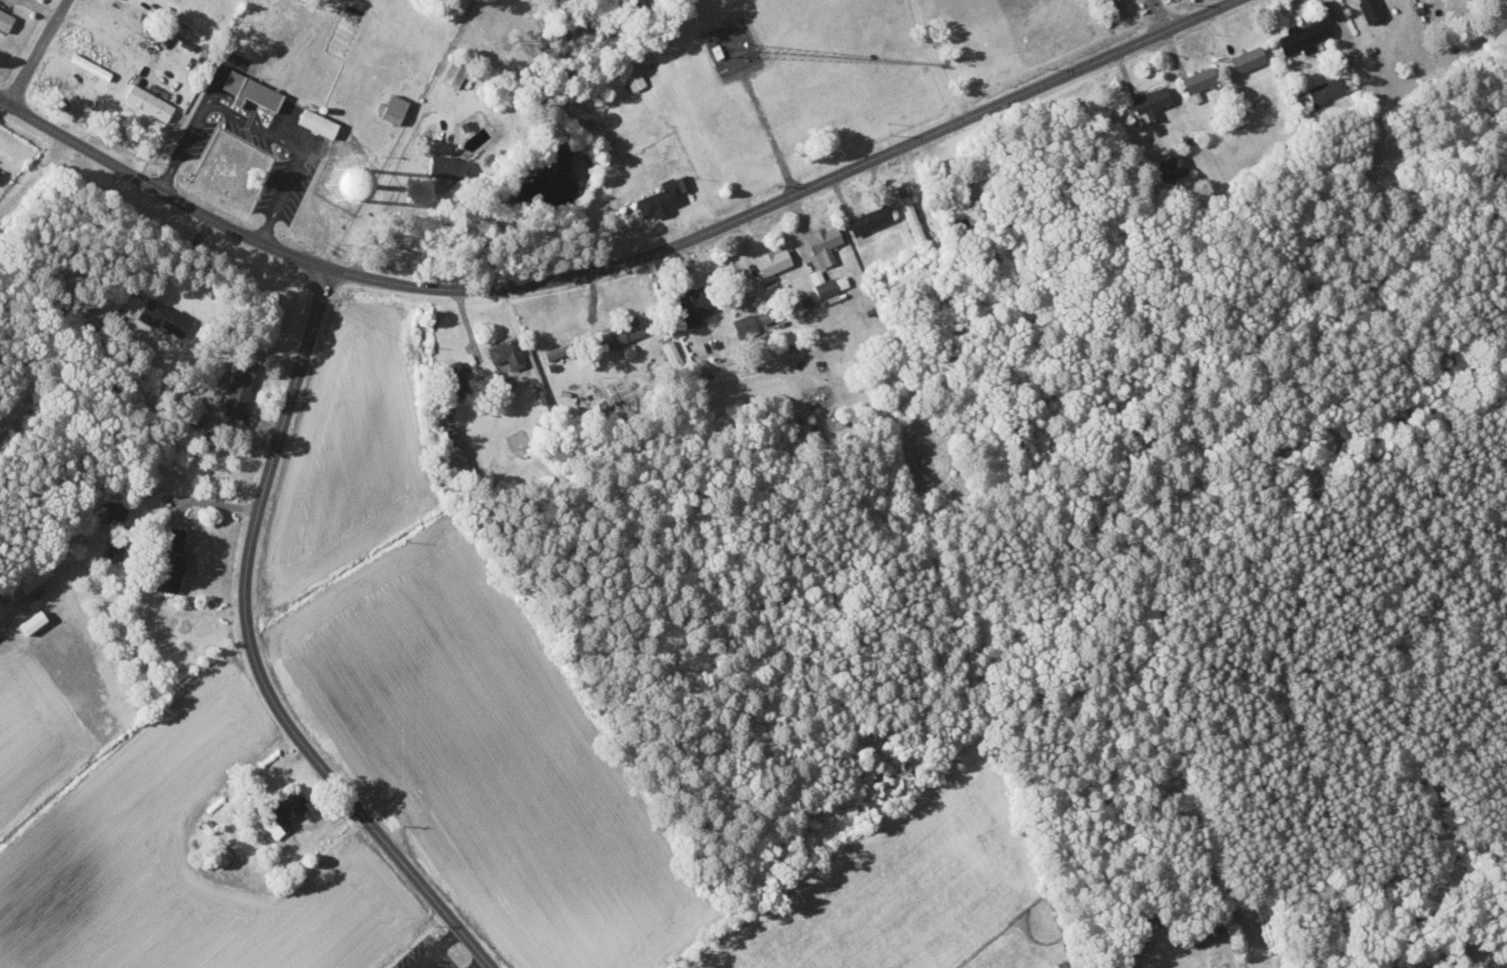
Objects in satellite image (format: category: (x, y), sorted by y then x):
building: (1370, 9)
road: (1156, 15)
building: (5, 21)
park: (1496, 32)
building: (1304, 36)
road: (41, 50)
building: (1247, 58)
road: (937, 59)
building: (454, 72)
road: (224, 73)
building: (1198, 81)
building: (638, 83)
building: (251, 91)
building: (1326, 91)
road: (243, 102)
building: (149, 103)
building: (1150, 103)
building: (393, 109)
building: (317, 124)
building: (467, 125)
road: (189, 138)
road: (300, 148)
building: (448, 166)
building: (1171, 166)
building: (0, 167)
building: (0, 171)
road: (36, 174)
building: (682, 182)
building: (659, 199)
building: (869, 219)
building: (823, 244)
building: (772, 261)
road: (618, 264)
building: (827, 286)
building: (693, 304)
building: (766, 314)
building: (166, 319)
building: (743, 325)
building: (622, 332)
building: (453, 379)
building: (237, 395)
building: (197, 412)
building: (456, 450)
building: (116, 509)
building: (172, 538)
building: (114, 548)
building: (171, 560)
building: (31, 576)
building: (167, 580)
road: (256, 654)
building: (278, 821)
building: (209, 826)
building: (220, 856)
building: (1151, 920)
building: (1142, 929)
building: (1200, 936)
road: (441, 948)
road: (480, 962)
building: (1063, 964)
building: (1390, 965)

